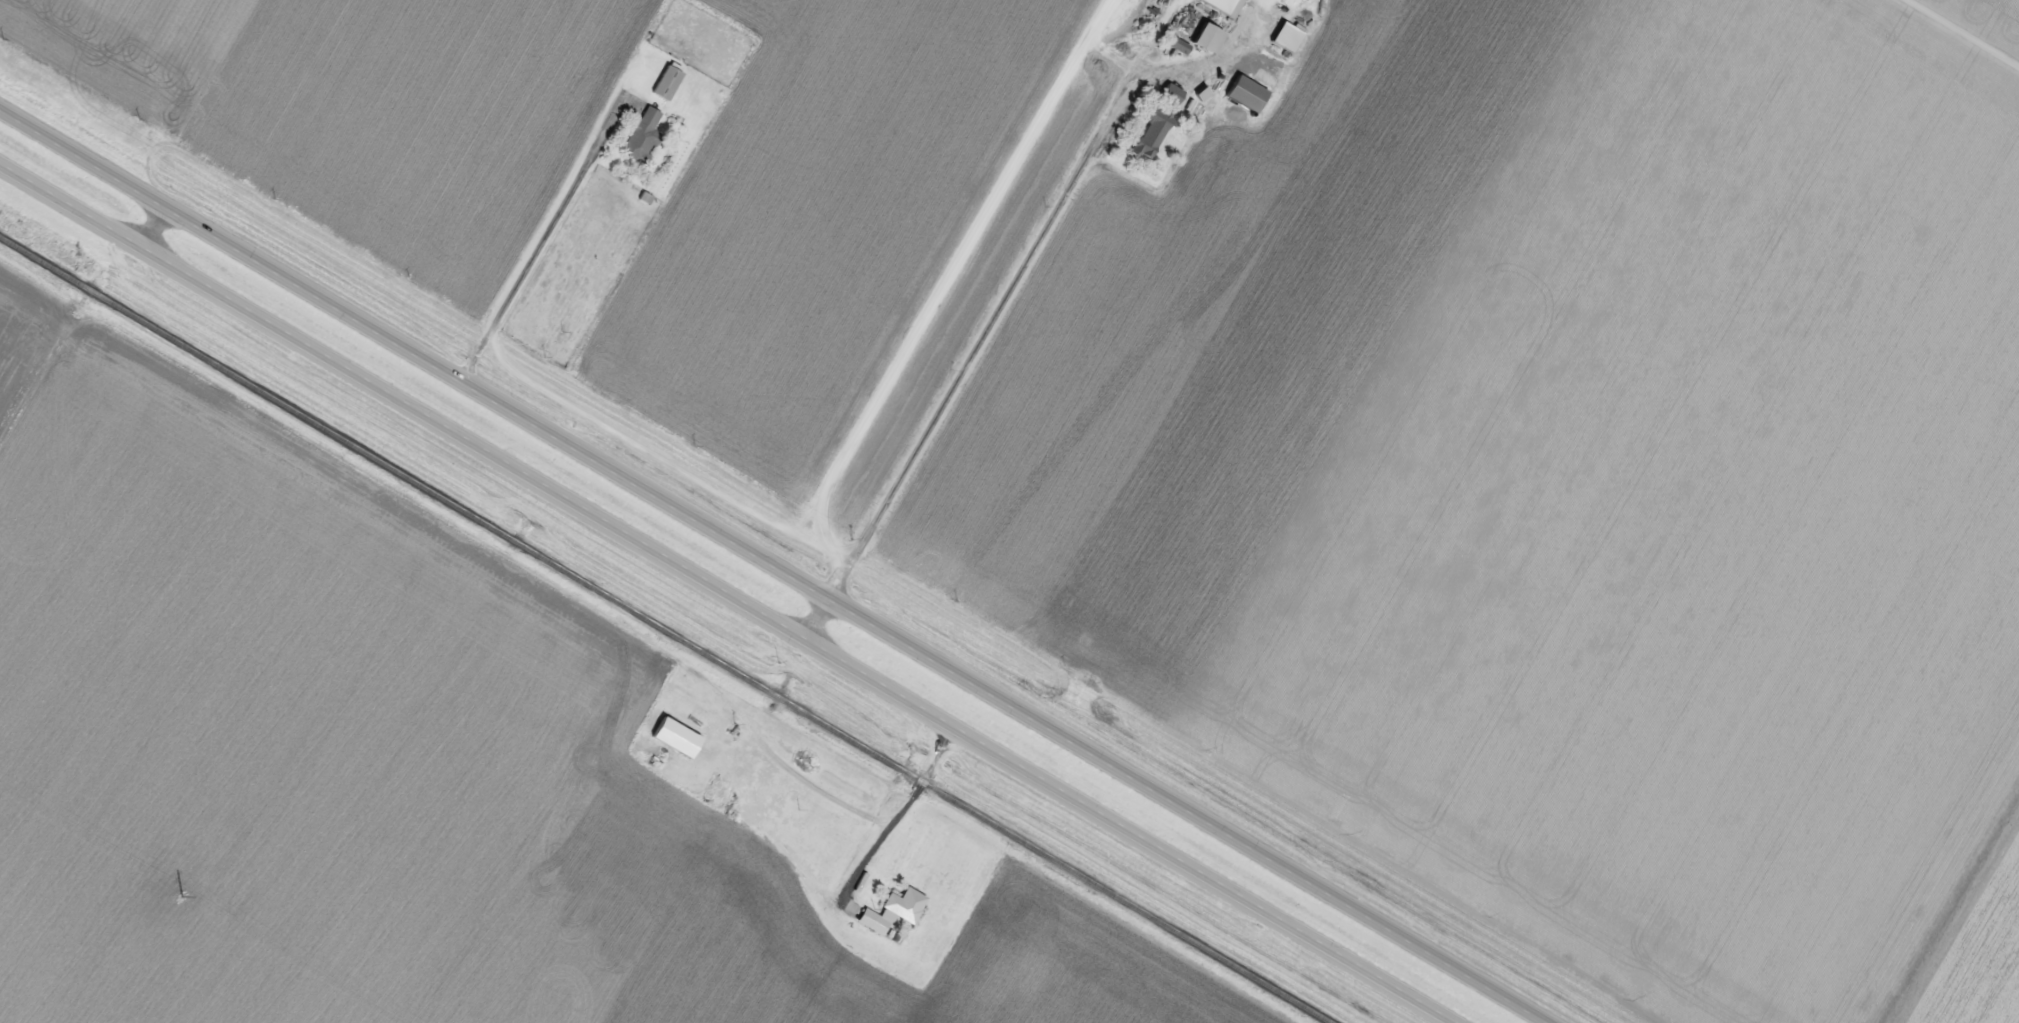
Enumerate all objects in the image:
building: (1282, 37)
building: (1203, 38)
building: (1176, 46)
building: (663, 83)
building: (1242, 94)
building: (1154, 121)
building: (639, 137)
road: (934, 298)
road: (770, 569)
road: (722, 598)
road: (811, 622)
railway: (665, 629)
building: (671, 737)
power tower: (181, 898)
building: (890, 910)

